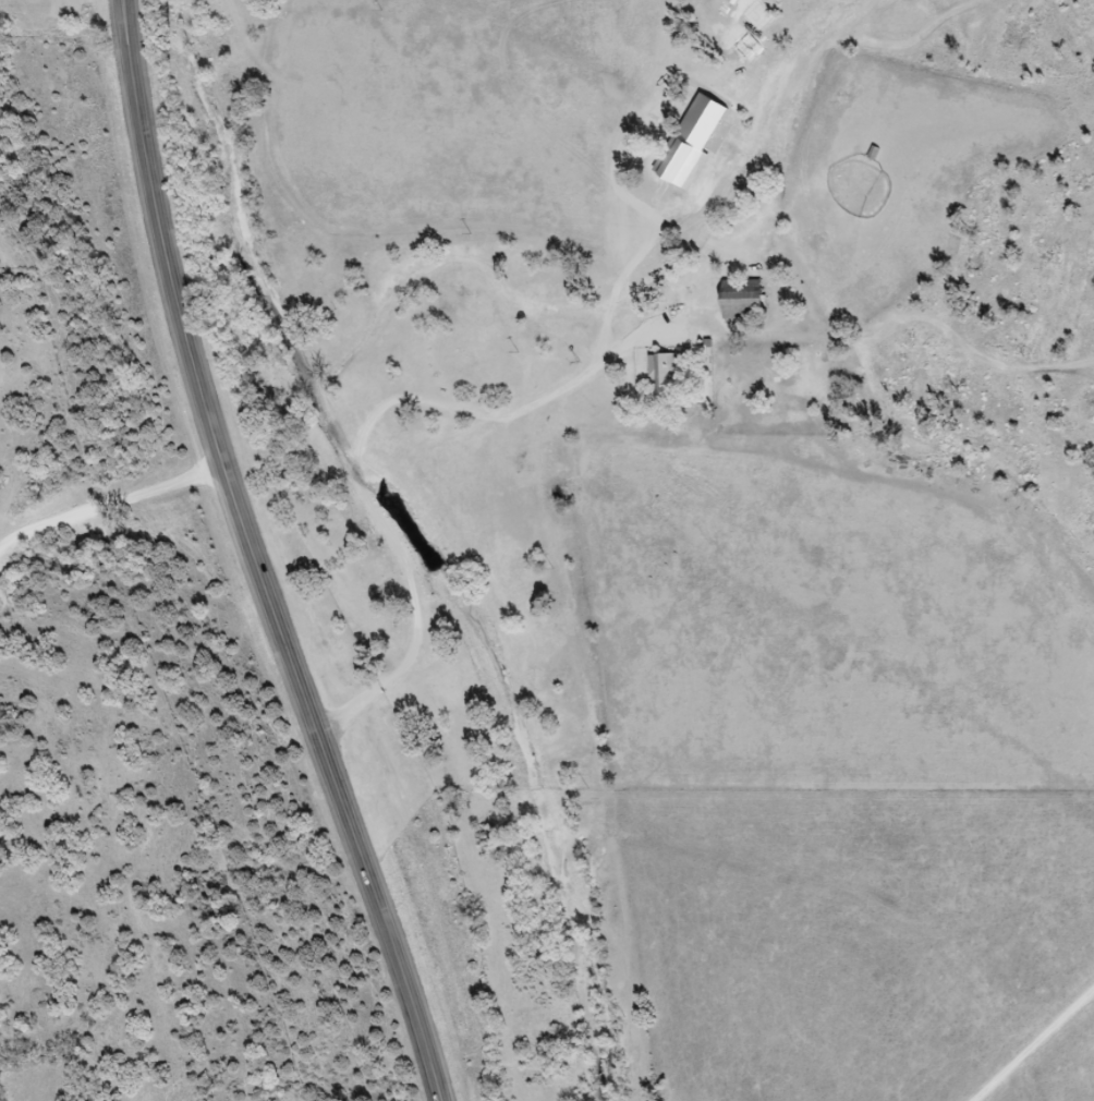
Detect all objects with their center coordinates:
building: (655, 164)
building: (747, 300)
building: (671, 378)
road: (414, 491)
road: (252, 559)

